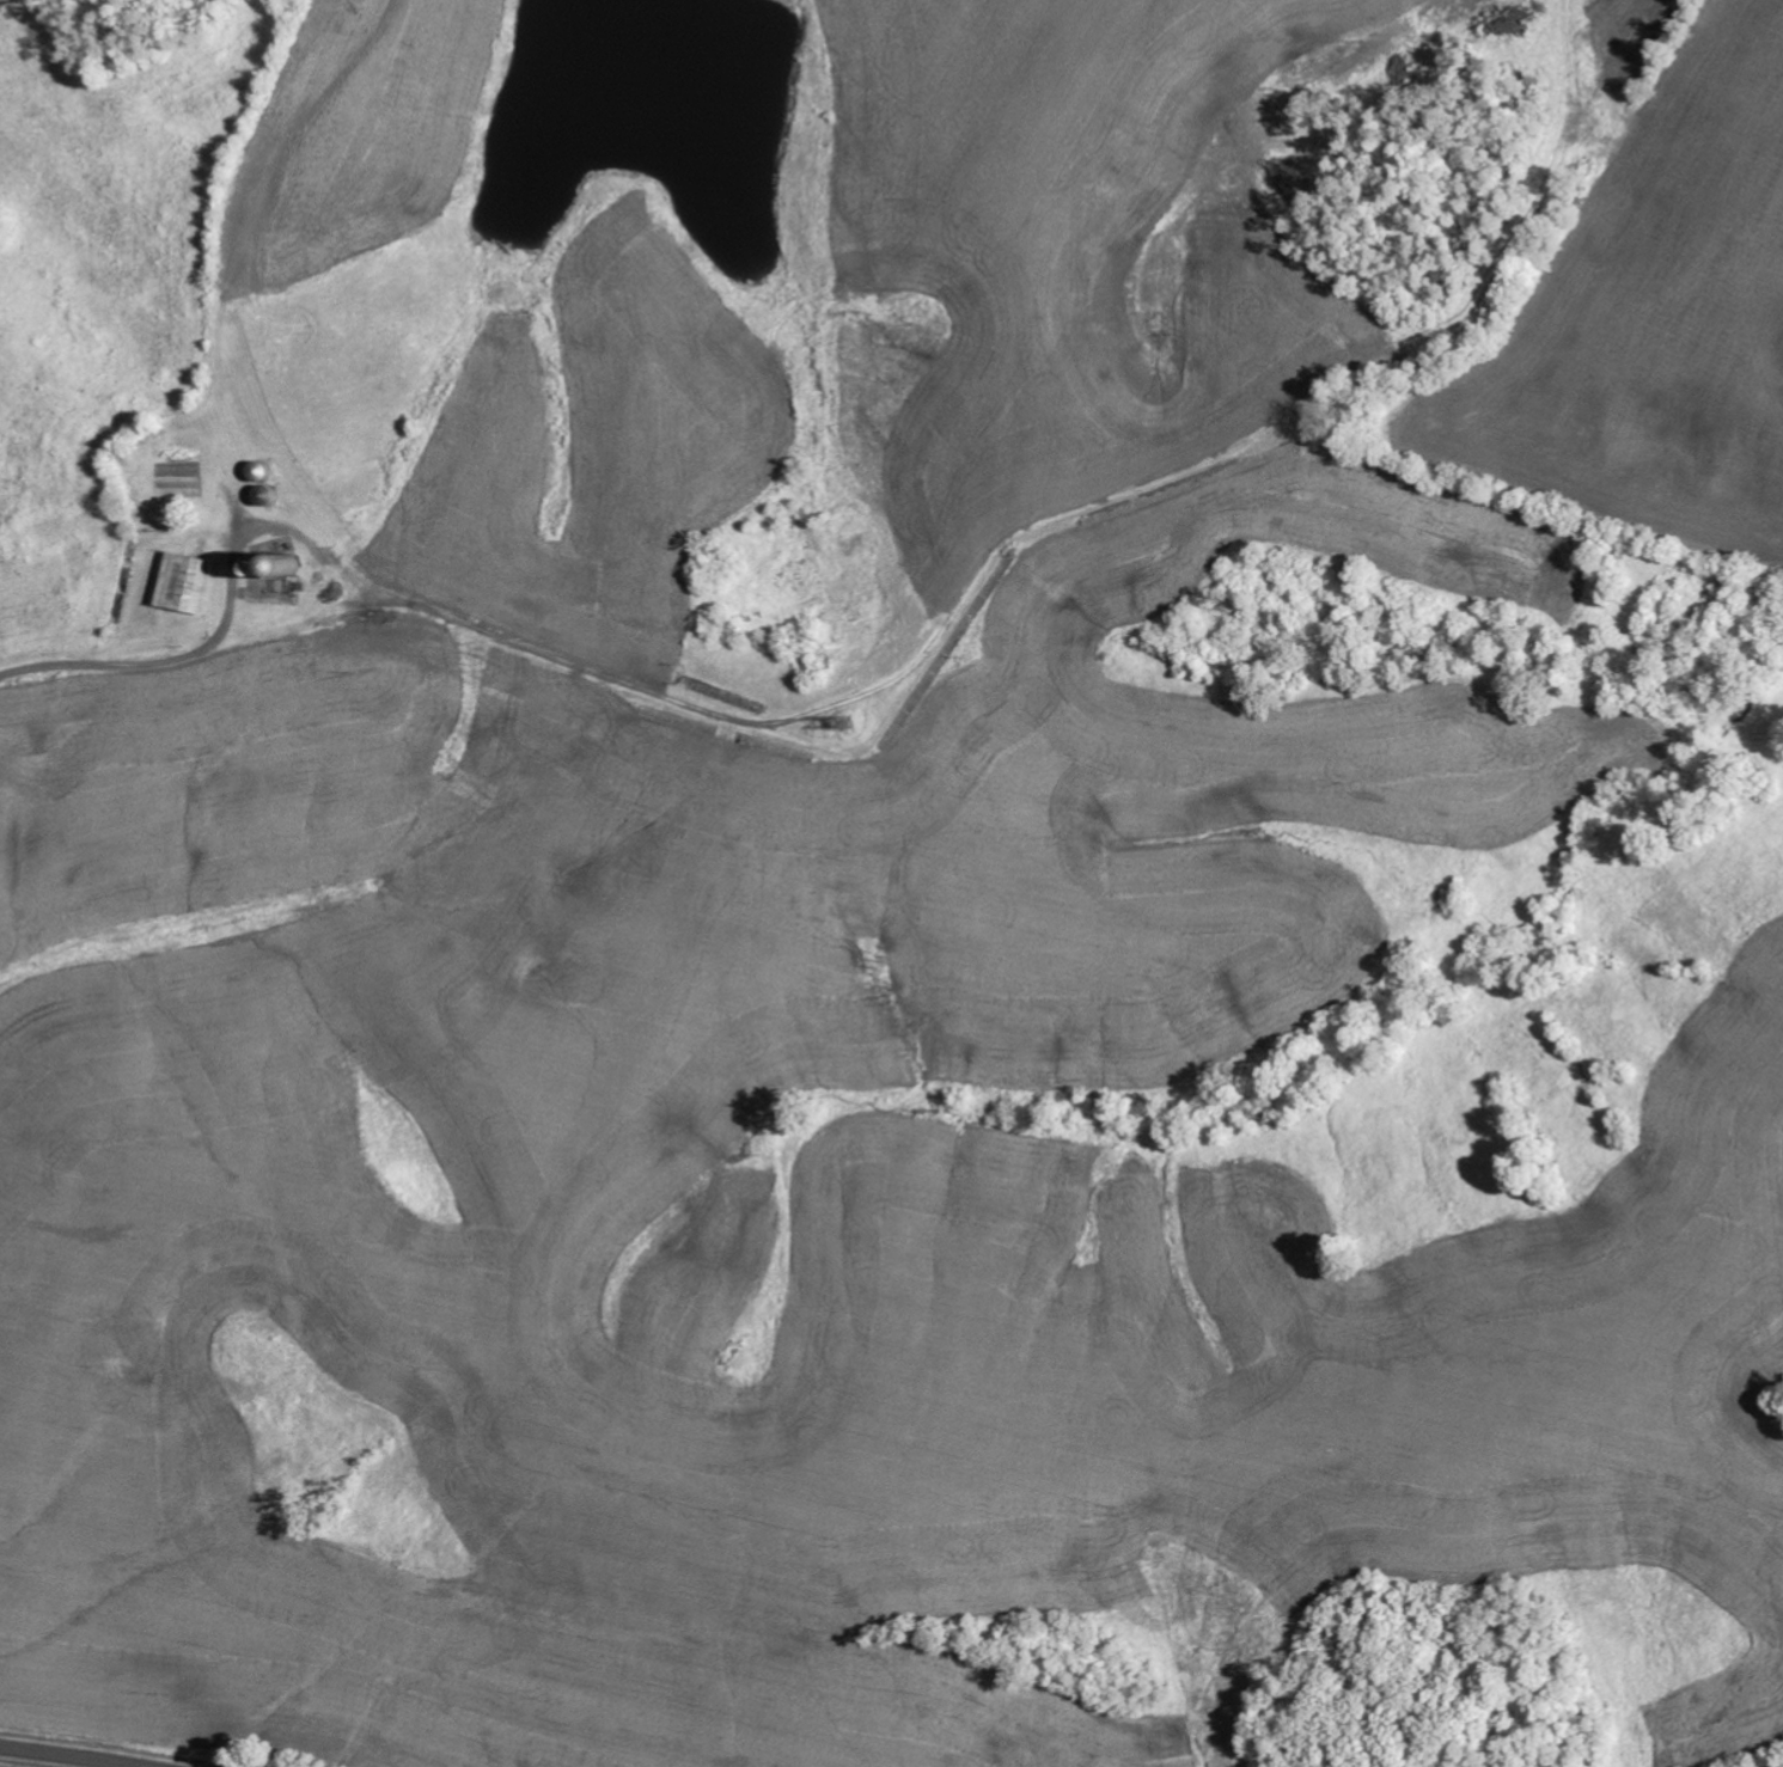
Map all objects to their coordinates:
road: (1007, 244)
road: (245, 291)
building: (187, 582)
road: (934, 626)
road: (71, 1756)

